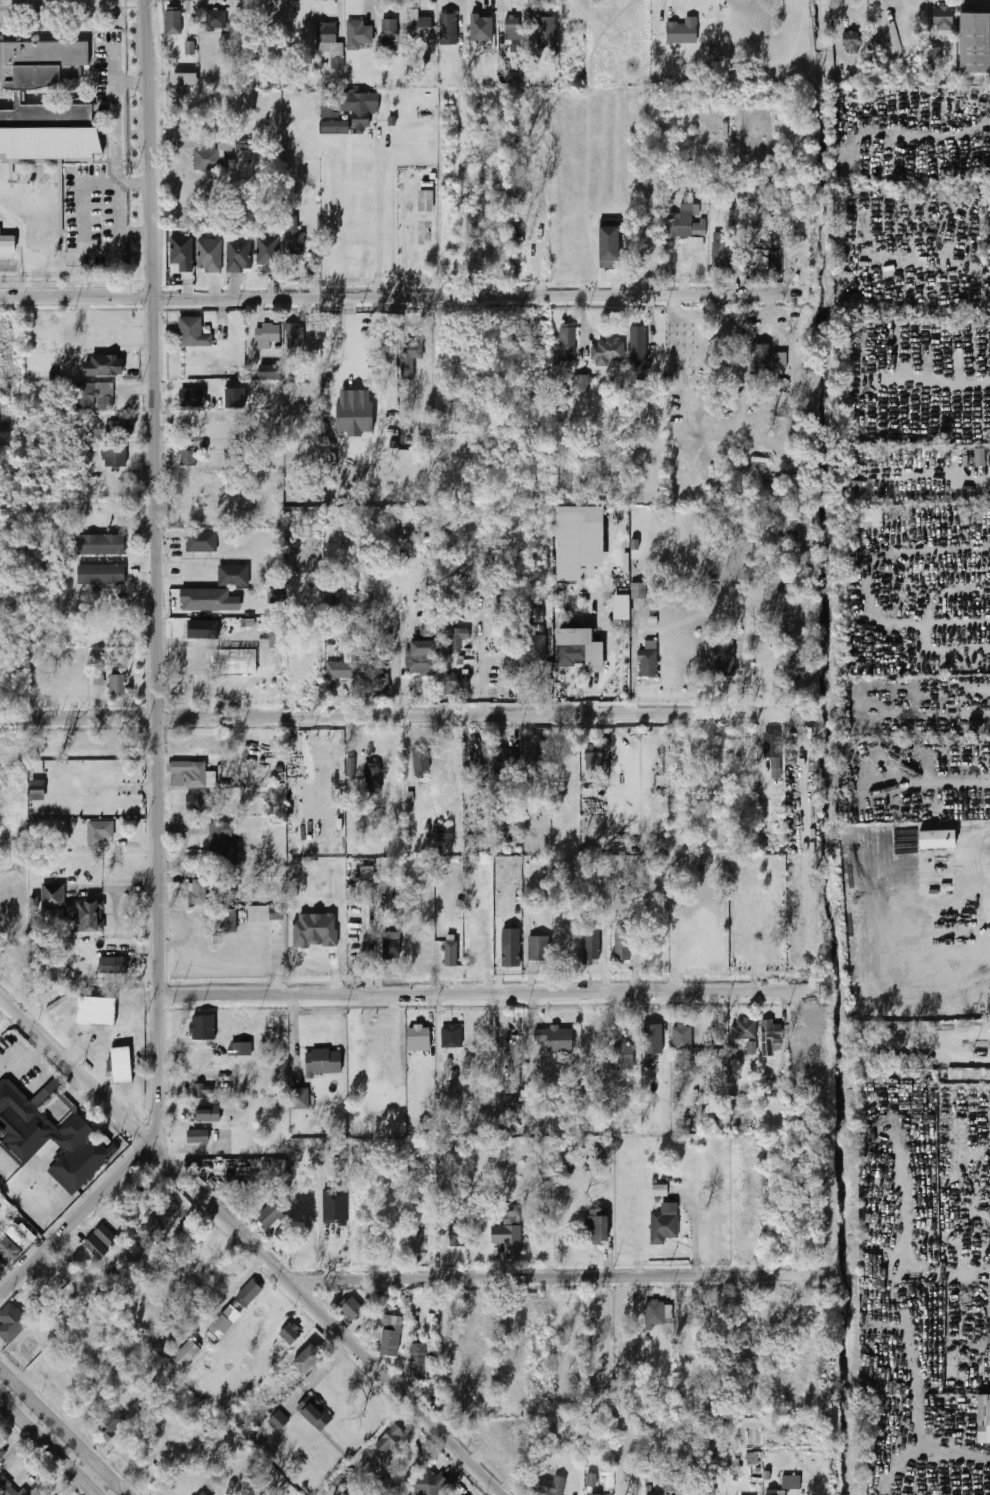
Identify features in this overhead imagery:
building: (942, 18)
building: (215, 20)
building: (173, 21)
building: (482, 24)
building: (420, 25)
building: (514, 27)
building: (448, 29)
building: (547, 31)
building: (682, 31)
building: (390, 32)
building: (359, 35)
building: (851, 41)
building: (329, 43)
building: (974, 45)
building: (190, 47)
building: (507, 76)
road: (131, 80)
building: (186, 80)
building: (17, 97)
building: (351, 105)
road: (114, 118)
building: (335, 126)
building: (217, 153)
road: (122, 179)
building: (426, 201)
road: (380, 221)
building: (687, 225)
building: (297, 242)
building: (7, 244)
building: (763, 244)
building: (608, 247)
building: (720, 252)
building: (267, 253)
building: (180, 255)
building: (238, 255)
building: (208, 256)
road: (401, 298)
building: (193, 333)
building: (267, 335)
building: (294, 340)
building: (567, 342)
building: (639, 347)
building: (608, 351)
building: (409, 357)
building: (762, 359)
building: (779, 360)
building: (104, 366)
building: (269, 372)
building: (583, 382)
building: (89, 396)
building: (235, 397)
building: (192, 398)
building: (354, 413)
building: (118, 430)
building: (114, 457)
building: (980, 457)
building: (187, 458)
building: (866, 518)
building: (801, 524)
building: (579, 540)
building: (201, 542)
building: (101, 545)
building: (101, 575)
building: (233, 576)
building: (638, 590)
building: (204, 599)
building: (621, 607)
building: (535, 614)
road: (599, 622)
building: (197, 631)
building: (427, 631)
building: (455, 639)
building: (532, 649)
building: (573, 653)
building: (421, 657)
road: (634, 659)
building: (724, 659)
building: (648, 661)
road: (746, 666)
building: (341, 670)
building: (381, 673)
road: (154, 676)
road: (483, 679)
building: (453, 683)
building: (117, 685)
road: (409, 718)
building: (772, 745)
building: (539, 754)
building: (595, 755)
building: (504, 760)
building: (420, 761)
building: (351, 766)
building: (188, 774)
building: (373, 777)
building: (38, 790)
building: (196, 802)
building: (99, 833)
building: (444, 836)
building: (935, 840)
building: (473, 844)
building: (222, 845)
building: (197, 892)
building: (52, 896)
building: (34, 902)
building: (90, 916)
building: (226, 920)
building: (315, 930)
building: (567, 938)
building: (591, 944)
building: (622, 944)
building: (391, 947)
building: (511, 947)
building: (539, 948)
building: (451, 952)
building: (121, 964)
road: (488, 993)
building: (97, 1014)
building: (202, 1028)
building: (746, 1029)
building: (421, 1035)
building: (451, 1036)
building: (771, 1036)
building: (653, 1037)
building: (683, 1037)
building: (556, 1038)
building: (751, 1047)
building: (241, 1048)
building: (206, 1056)
building: (623, 1056)
road: (30, 1057)
building: (324, 1062)
building: (121, 1065)
building: (445, 1087)
building: (203, 1091)
building: (299, 1098)
building: (514, 1104)
building: (208, 1113)
building: (49, 1136)
building: (198, 1137)
building: (659, 1190)
building: (335, 1205)
building: (166, 1212)
building: (270, 1215)
building: (596, 1227)
building: (664, 1227)
building: (456, 1229)
building: (512, 1234)
building: (21, 1236)
building: (99, 1243)
road: (255, 1244)
building: (418, 1244)
building: (8, 1249)
building: (0, 1260)
building: (223, 1273)
road: (555, 1278)
building: (249, 1292)
road: (231, 1294)
building: (34, 1304)
building: (352, 1309)
building: (481, 1310)
building: (659, 1314)
building: (390, 1321)
building: (224, 1322)
building: (11, 1323)
building: (290, 1334)
building: (390, 1342)
building: (446, 1348)
building: (185, 1354)
building: (308, 1359)
building: (420, 1363)
building: (481, 1400)
building: (147, 1403)
building: (314, 1414)
building: (983, 1418)
building: (278, 1421)
building: (110, 1424)
road: (61, 1435)
building: (389, 1440)
road: (48, 1449)
building: (2, 1450)
road: (90, 1476)
building: (671, 1481)
building: (428, 1482)
building: (791, 1482)
building: (546, 1486)
building: (9, 1488)
building: (775, 1492)
building: (201, 1493)
building: (595, 1494)

